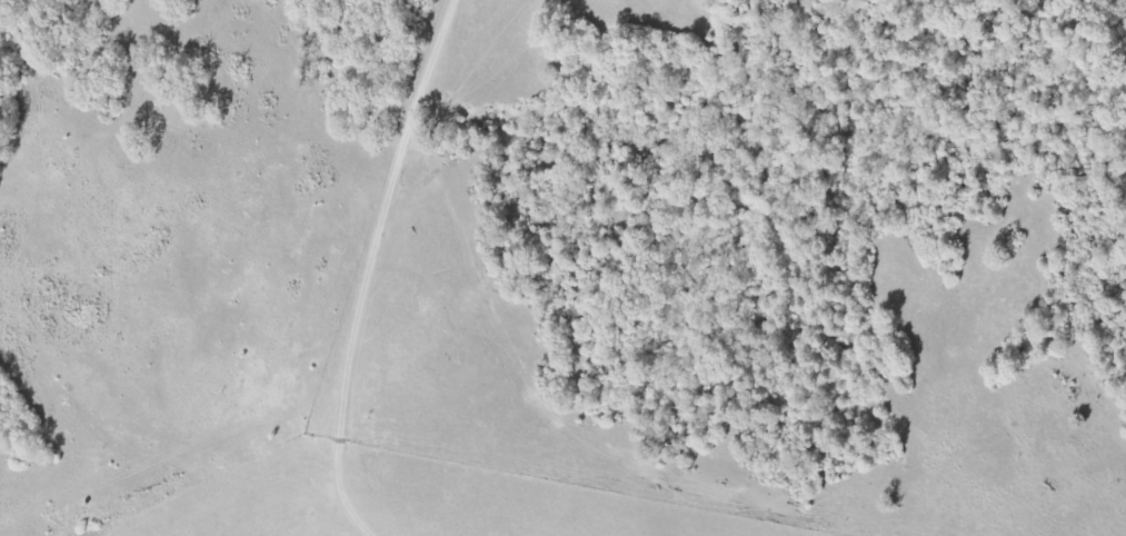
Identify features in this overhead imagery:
road: (370, 269)

